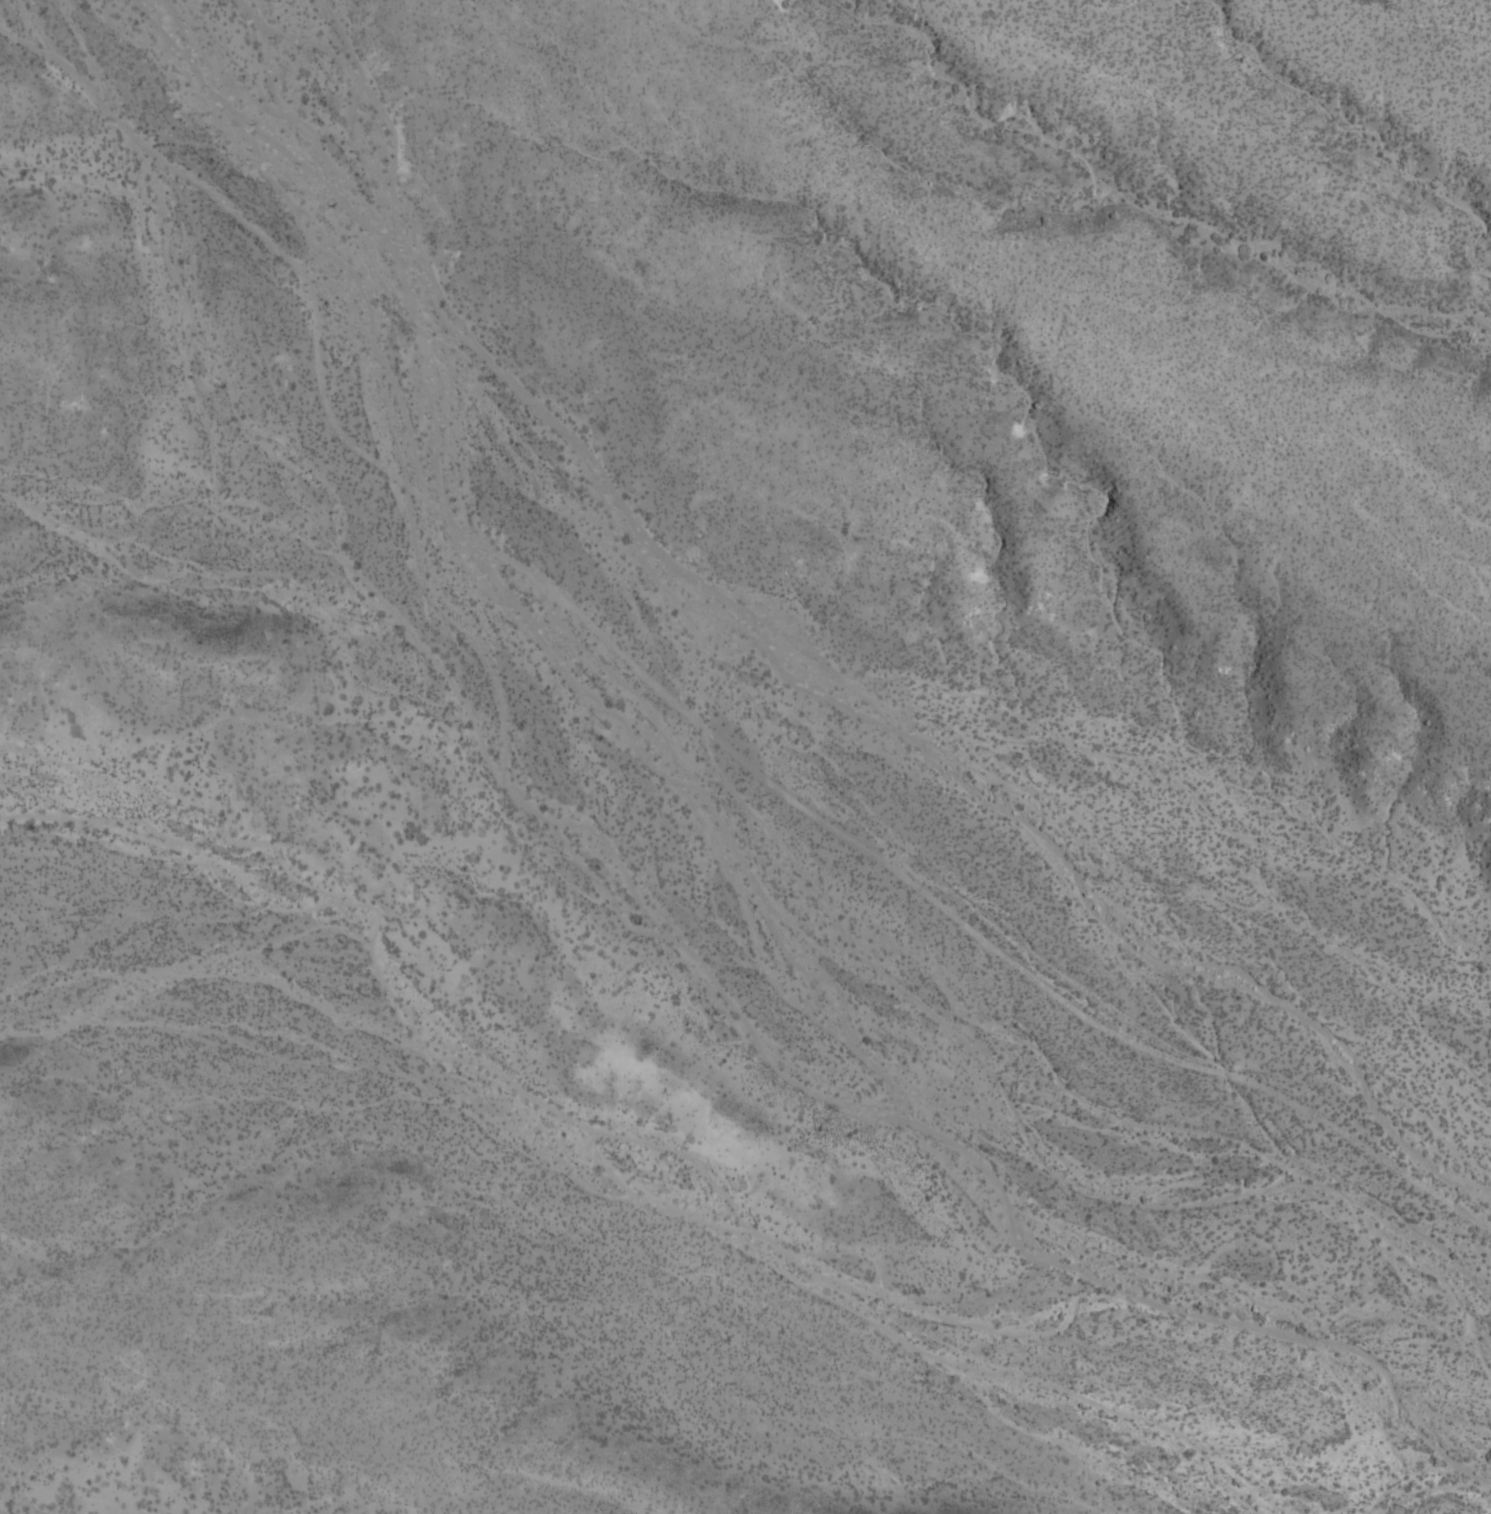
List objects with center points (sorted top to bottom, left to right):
road: (691, 718)

